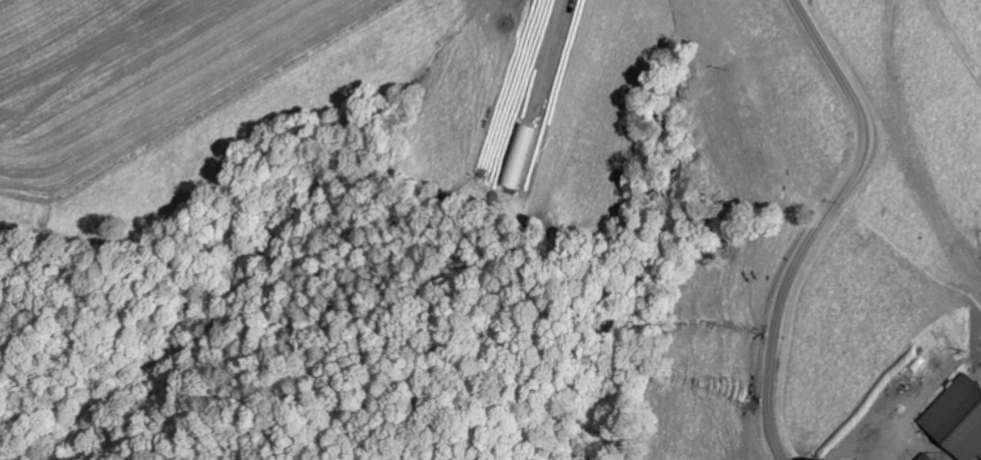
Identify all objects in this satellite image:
building: (515, 156)
building: (955, 418)
building: (923, 457)

